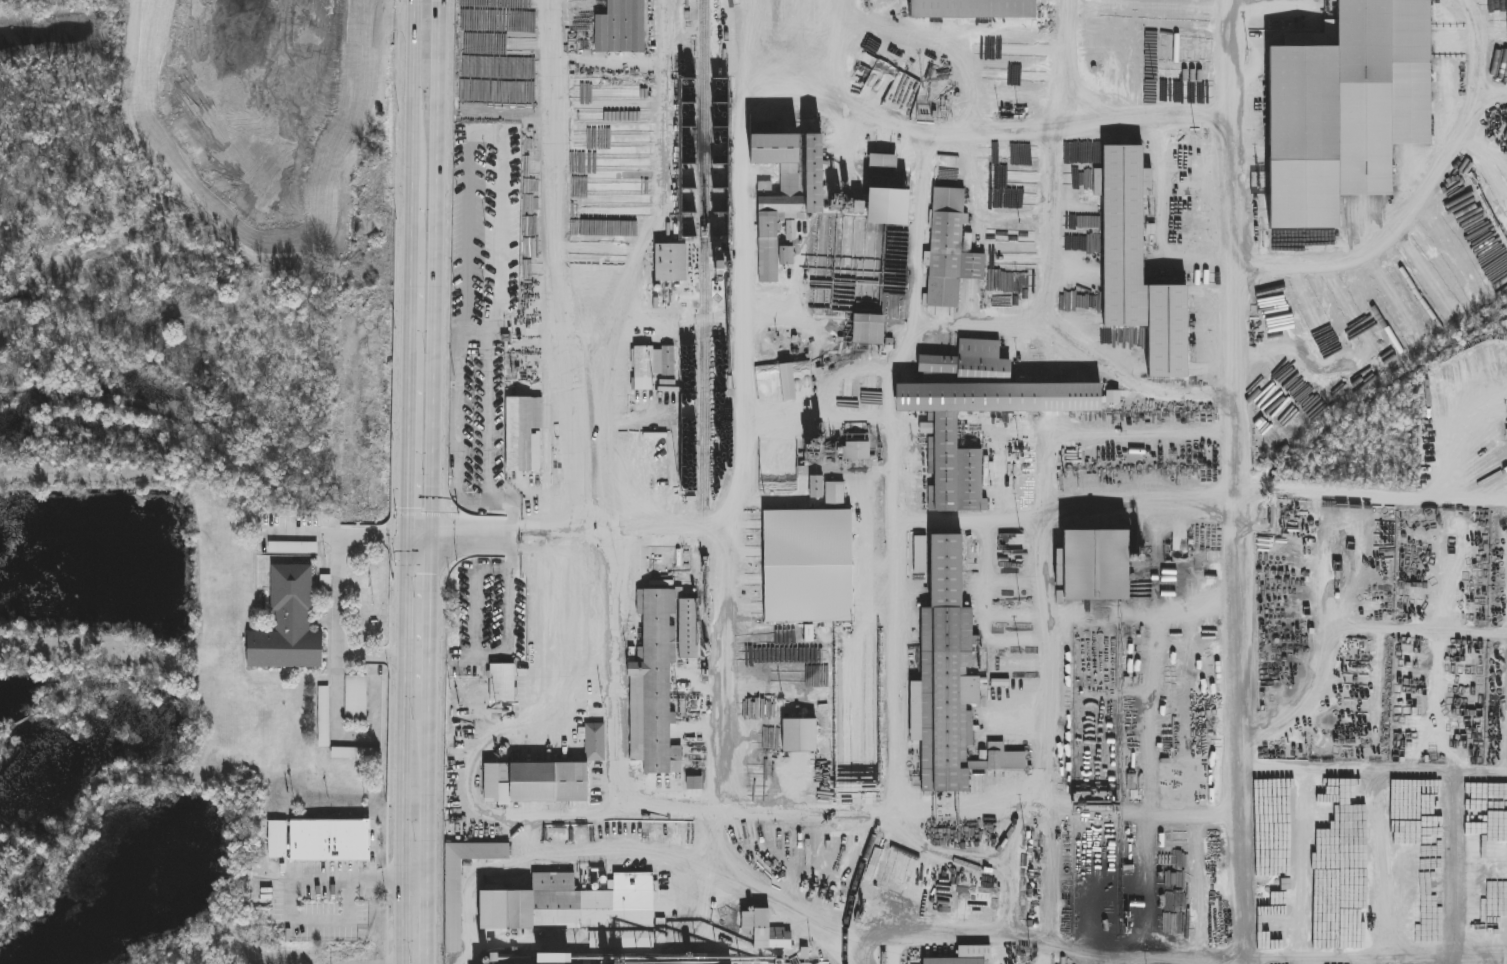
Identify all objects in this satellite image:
building: (974, 9)
building: (621, 28)
road: (615, 61)
road: (1228, 64)
building: (1344, 72)
road: (416, 89)
road: (487, 134)
road: (1227, 139)
building: (883, 162)
road: (563, 175)
road: (663, 187)
building: (779, 201)
building: (883, 207)
building: (949, 250)
building: (671, 263)
building: (1142, 267)
building: (870, 330)
road: (480, 340)
road: (411, 359)
building: (668, 361)
building: (644, 376)
building: (941, 430)
building: (523, 435)
road: (434, 481)
railway: (703, 502)
road: (536, 524)
road: (450, 531)
building: (354, 540)
road: (539, 551)
road: (452, 552)
building: (336, 560)
building: (921, 565)
building: (1098, 566)
road: (337, 589)
building: (288, 623)
building: (947, 674)
building: (503, 683)
building: (655, 687)
building: (355, 696)
road: (545, 705)
building: (322, 715)
building: (795, 734)
building: (596, 743)
building: (348, 752)
road: (407, 752)
building: (1132, 783)
building: (538, 784)
building: (695, 785)
road: (713, 828)
railway: (872, 837)
building: (277, 838)
building: (330, 839)
building: (480, 853)
road: (394, 877)
railway: (798, 882)
building: (581, 911)
road: (291, 916)
building: (766, 932)
building: (966, 957)

